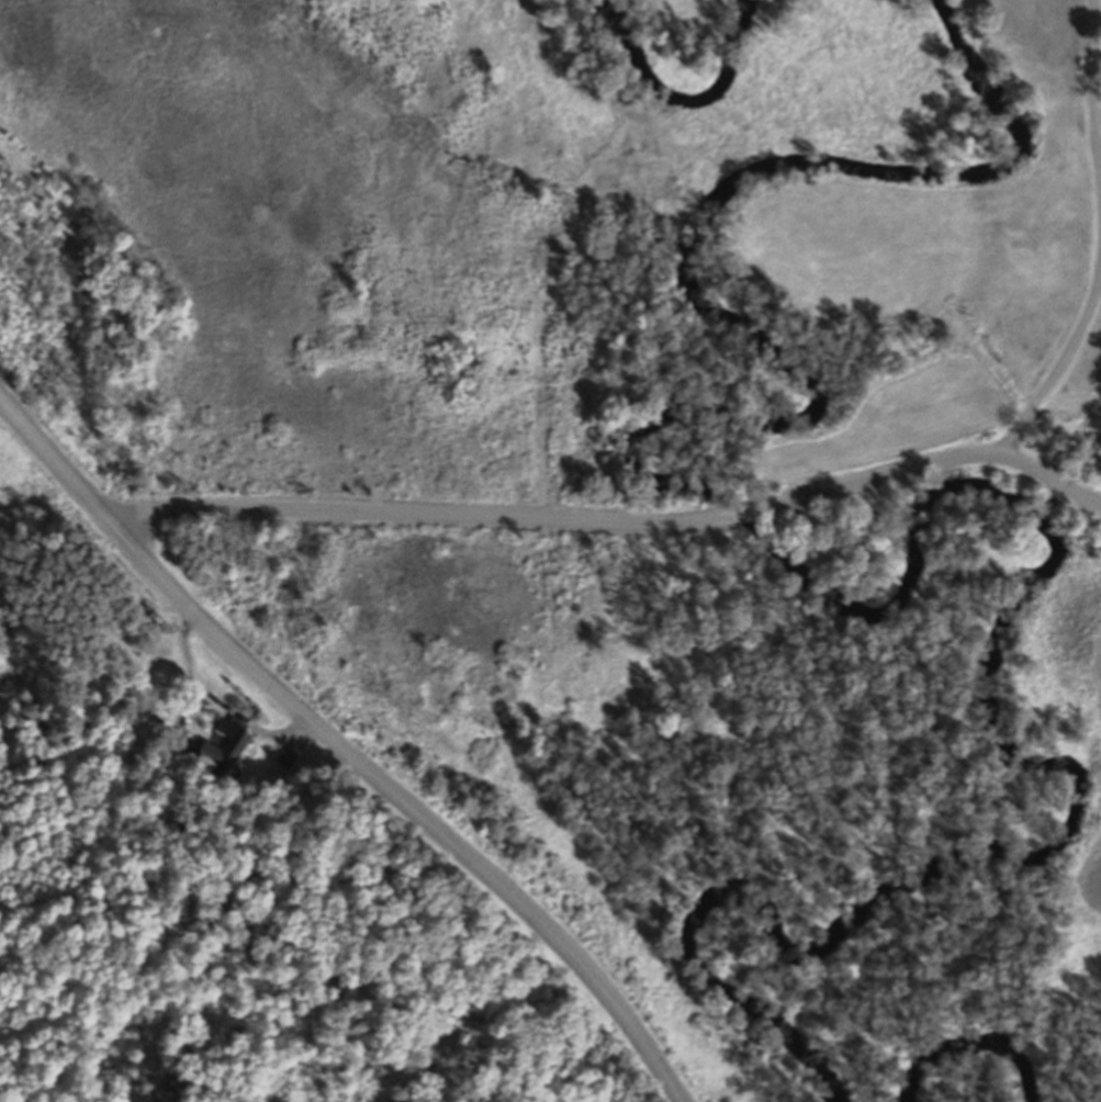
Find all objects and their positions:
river: (666, 98)
road: (1098, 237)
road: (616, 524)
river: (907, 567)
road: (187, 705)
road: (222, 705)
building: (224, 745)
road: (342, 747)
building: (288, 756)
river: (973, 1069)

